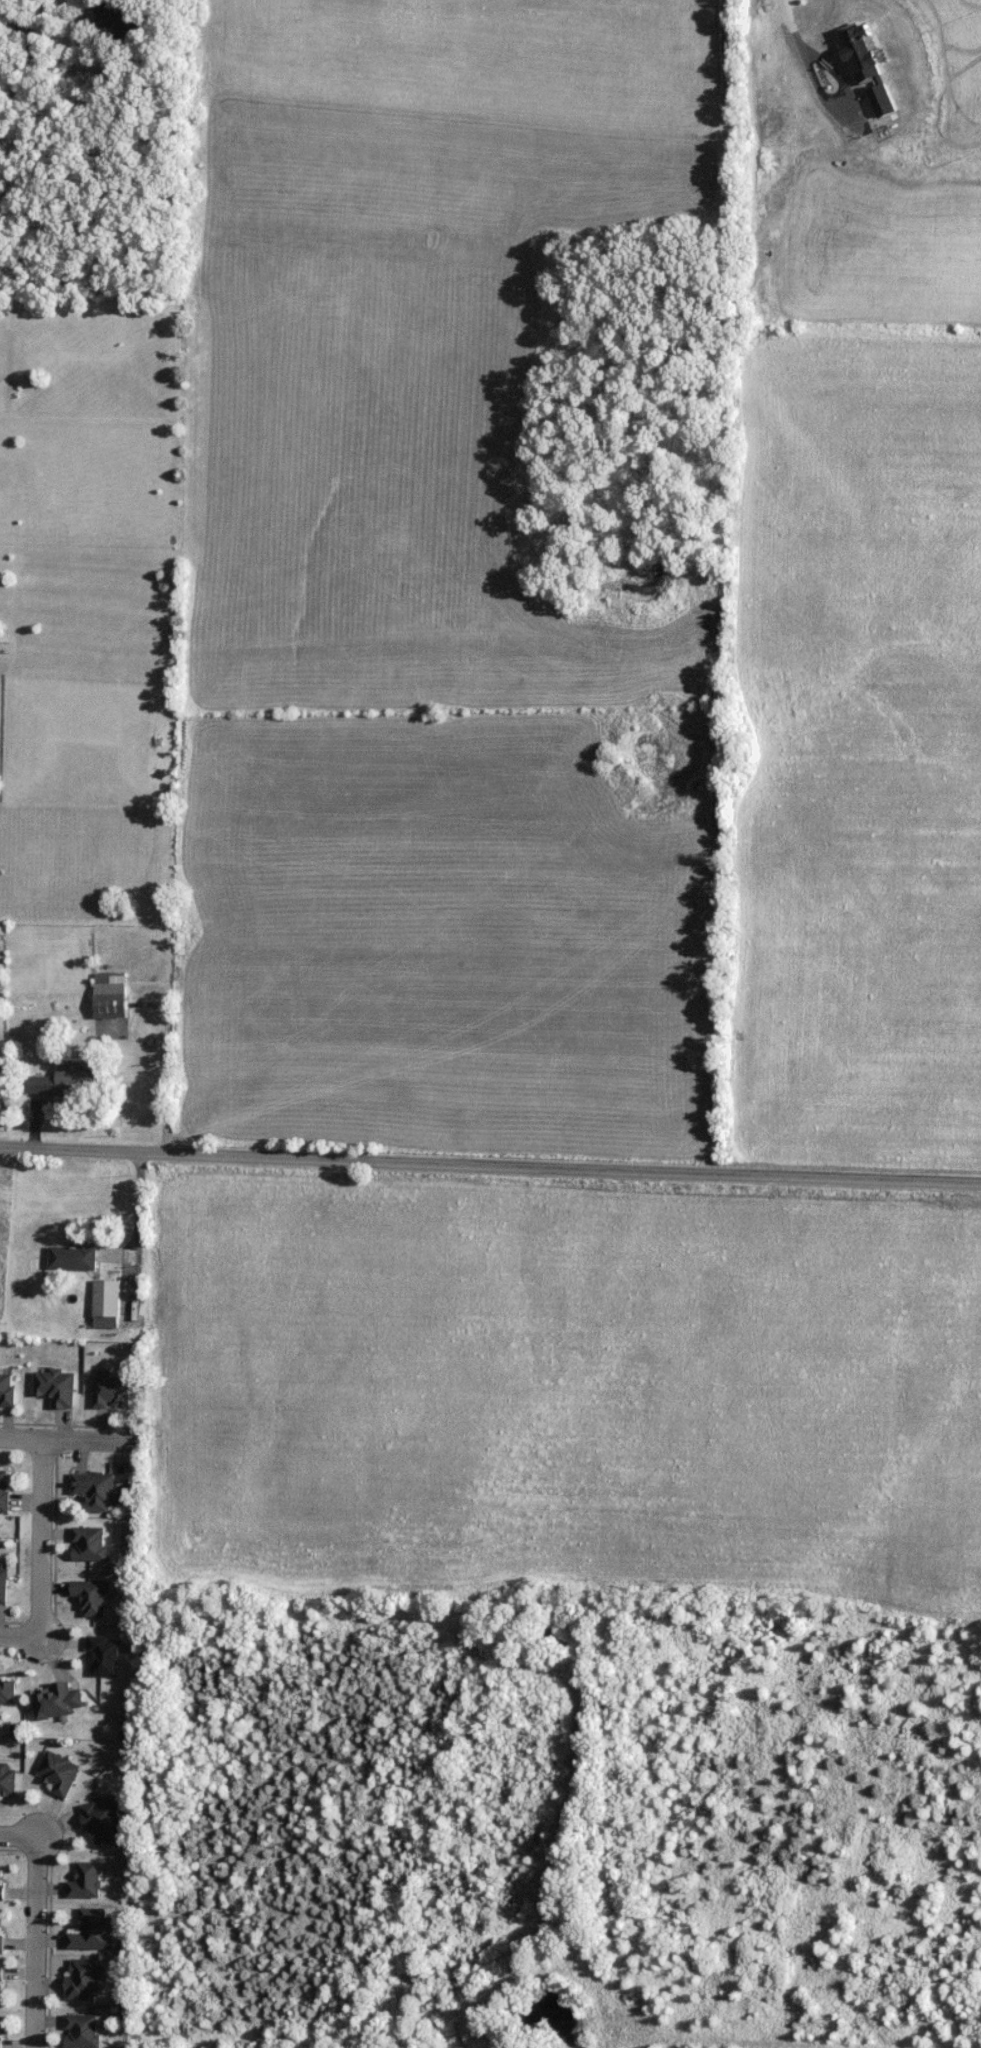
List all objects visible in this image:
road: (55, 12)
building: (124, 17)
road: (787, 22)
road: (840, 98)
building: (111, 996)
road: (163, 1067)
building: (65, 1081)
road: (490, 1170)
road: (133, 1234)
building: (73, 1257)
building: (108, 1299)
building: (57, 1388)
building: (7, 1390)
building: (113, 1393)
road: (69, 1441)
building: (5, 1491)
building: (97, 1491)
road: (41, 1539)
building: (91, 1544)
building: (3, 1586)
building: (93, 1597)
road: (20, 1637)
building: (106, 1656)
building: (8, 1692)
building: (54, 1702)
building: (61, 1773)
building: (8, 1782)
building: (103, 1821)
road: (18, 1839)
building: (86, 1882)
building: (2, 1885)
building: (93, 1931)
building: (2, 1944)
road: (34, 1944)
building: (2, 1973)
building: (85, 1979)
building: (83, 2031)
building: (0, 2042)

